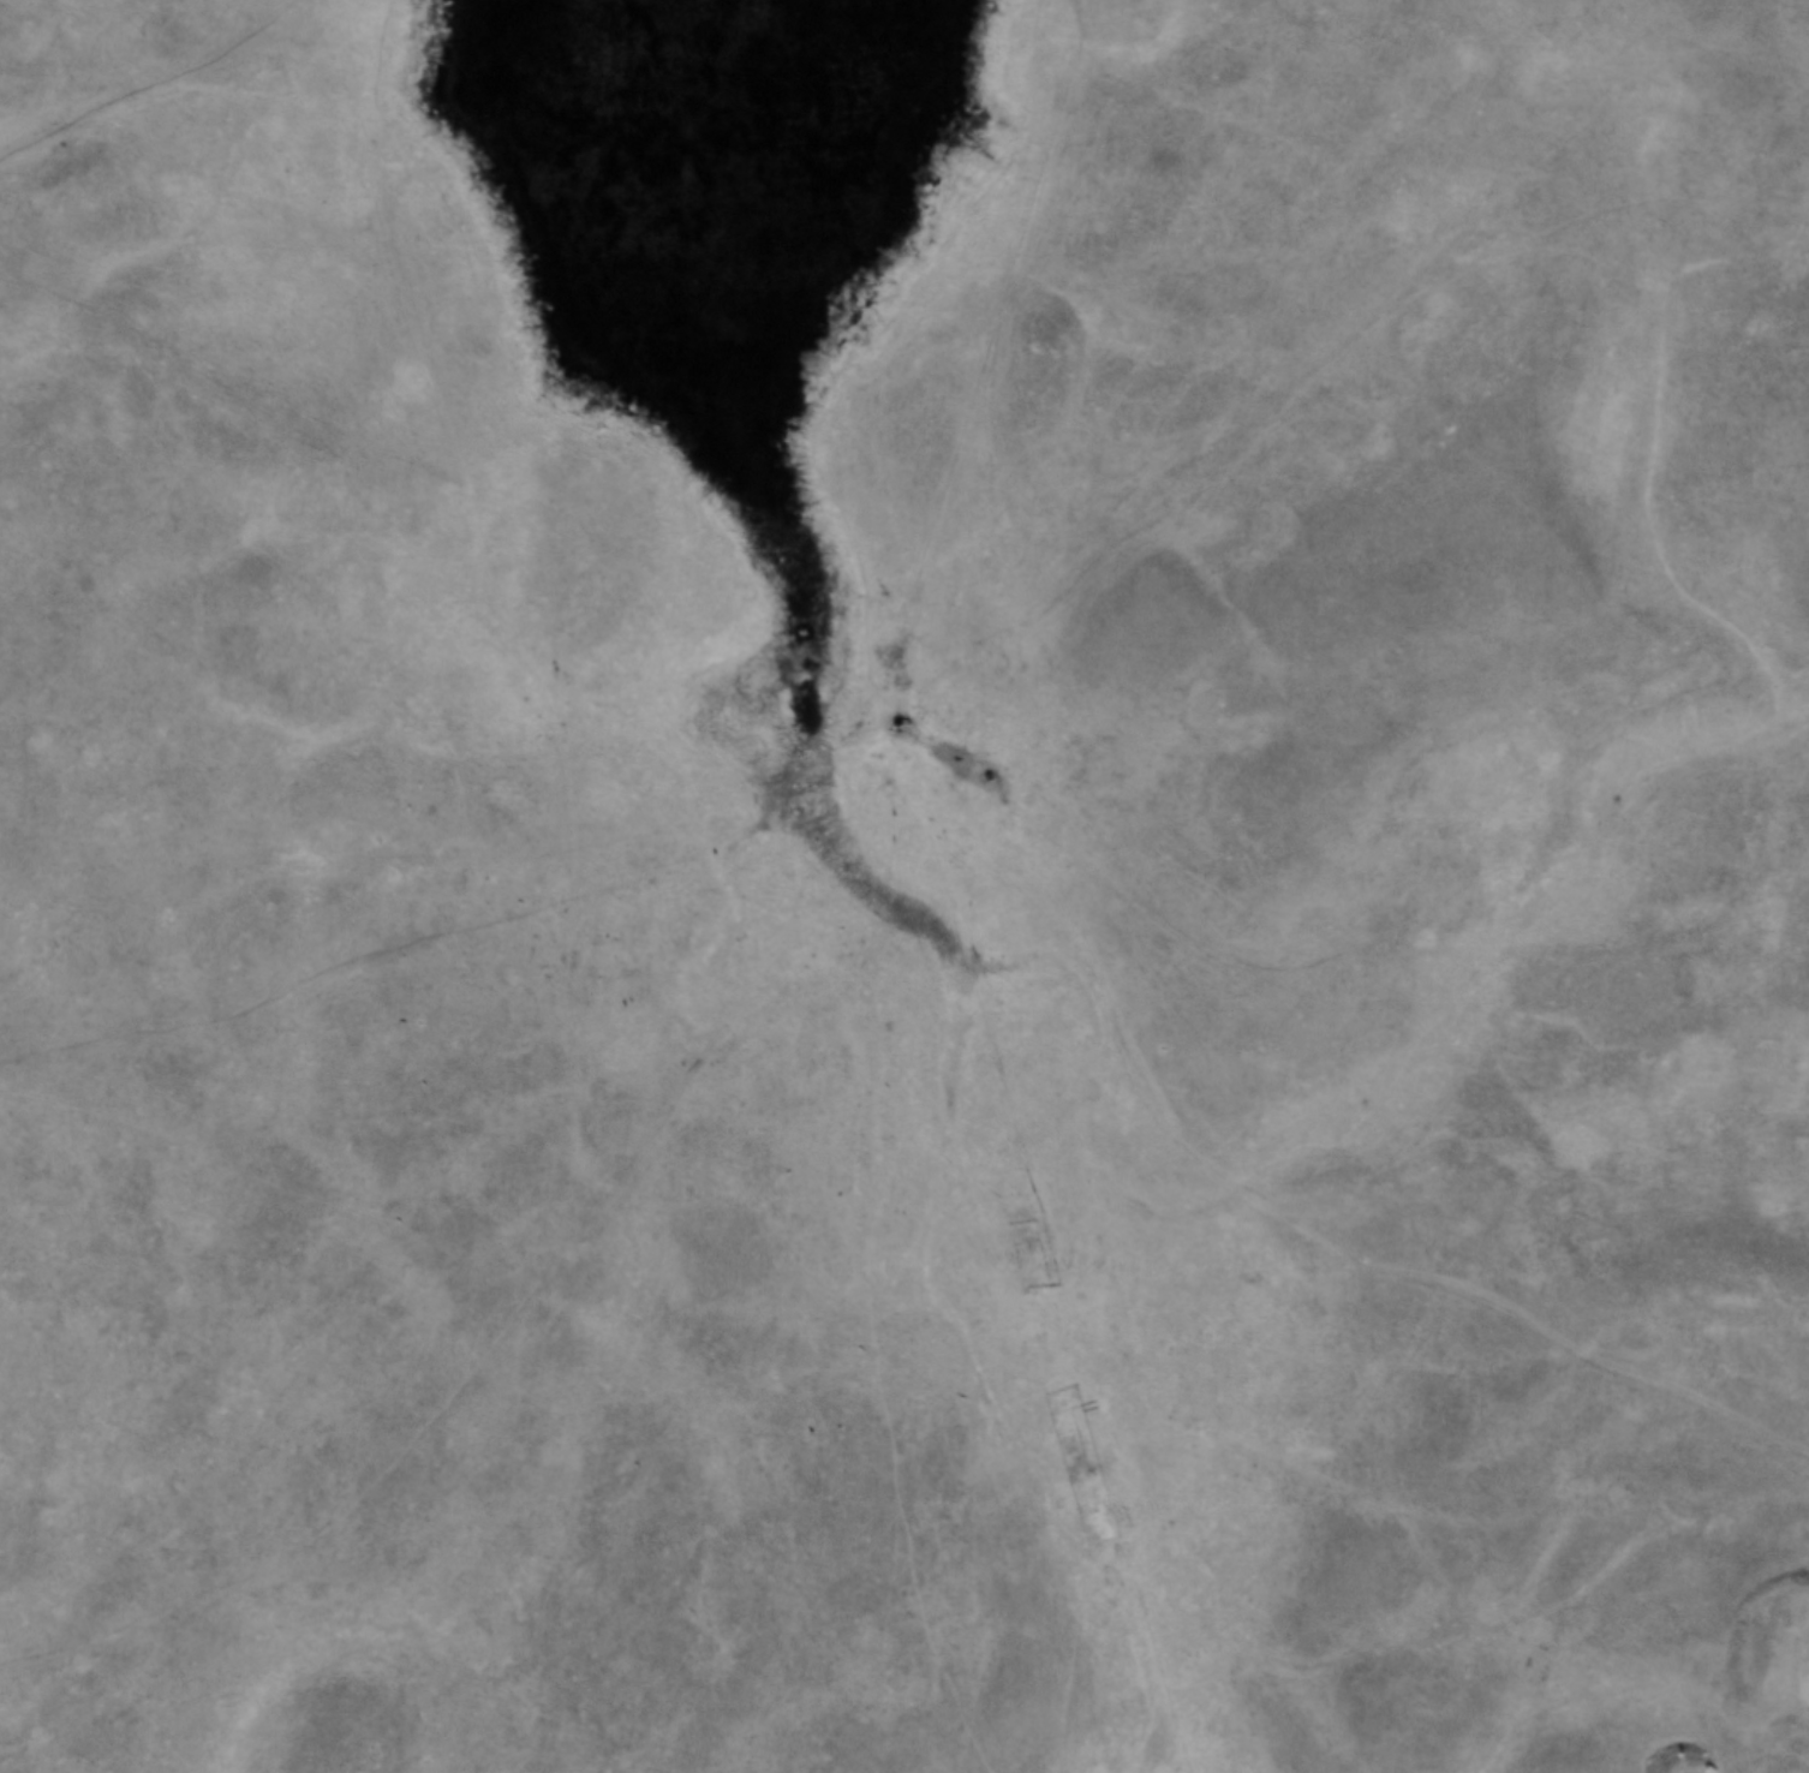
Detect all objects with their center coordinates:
quarry: (1760, 1693)

